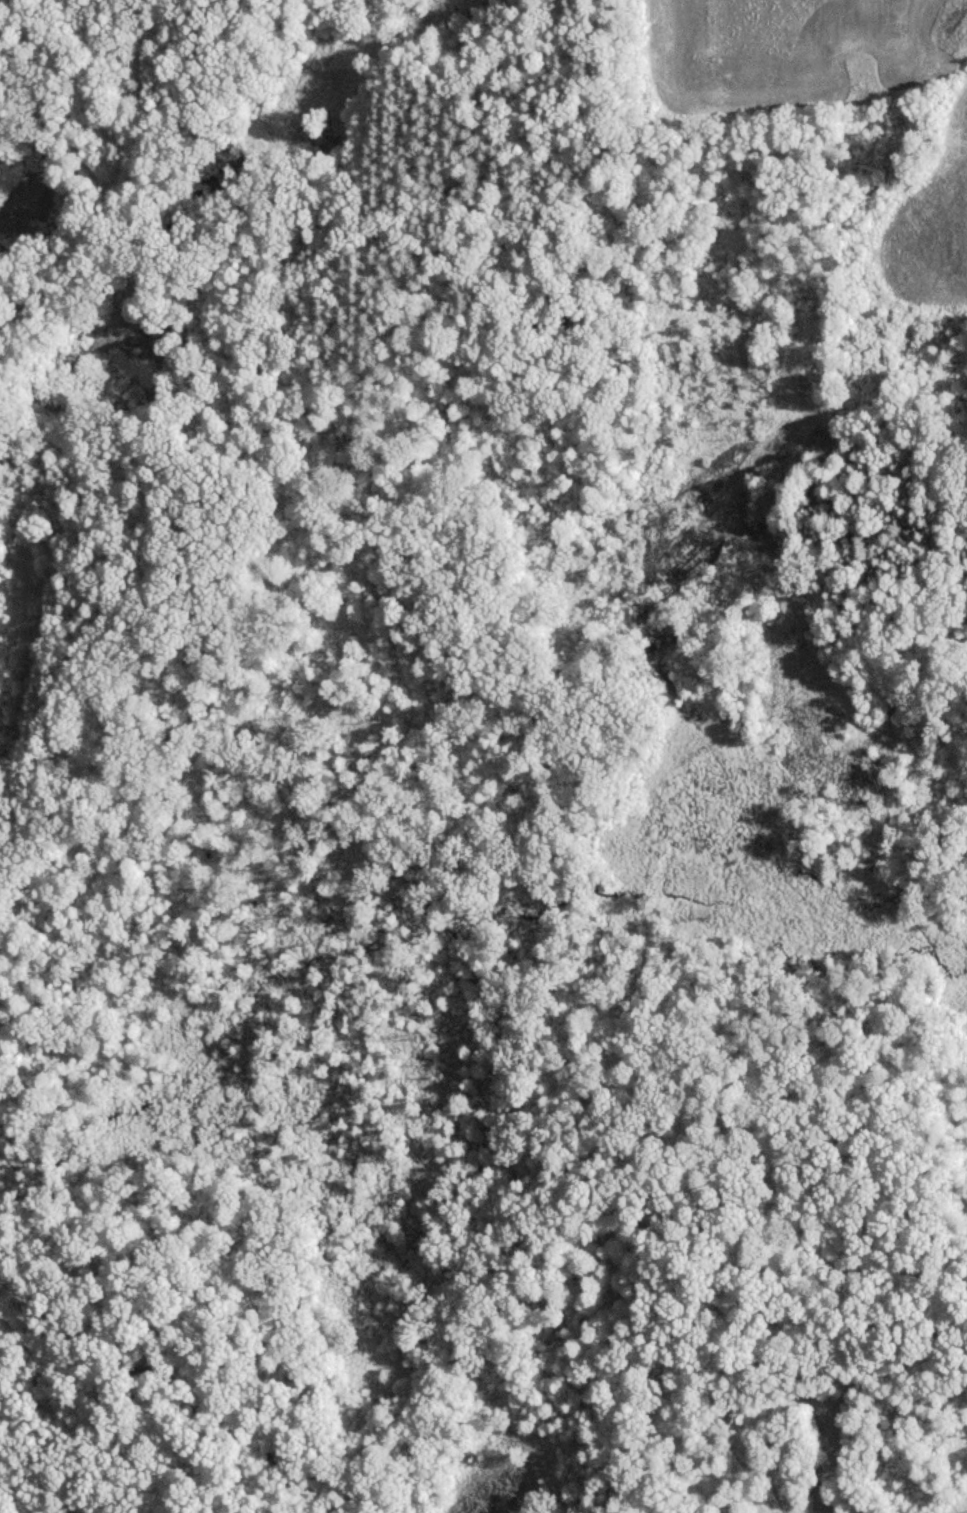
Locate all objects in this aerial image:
road: (127, 190)

